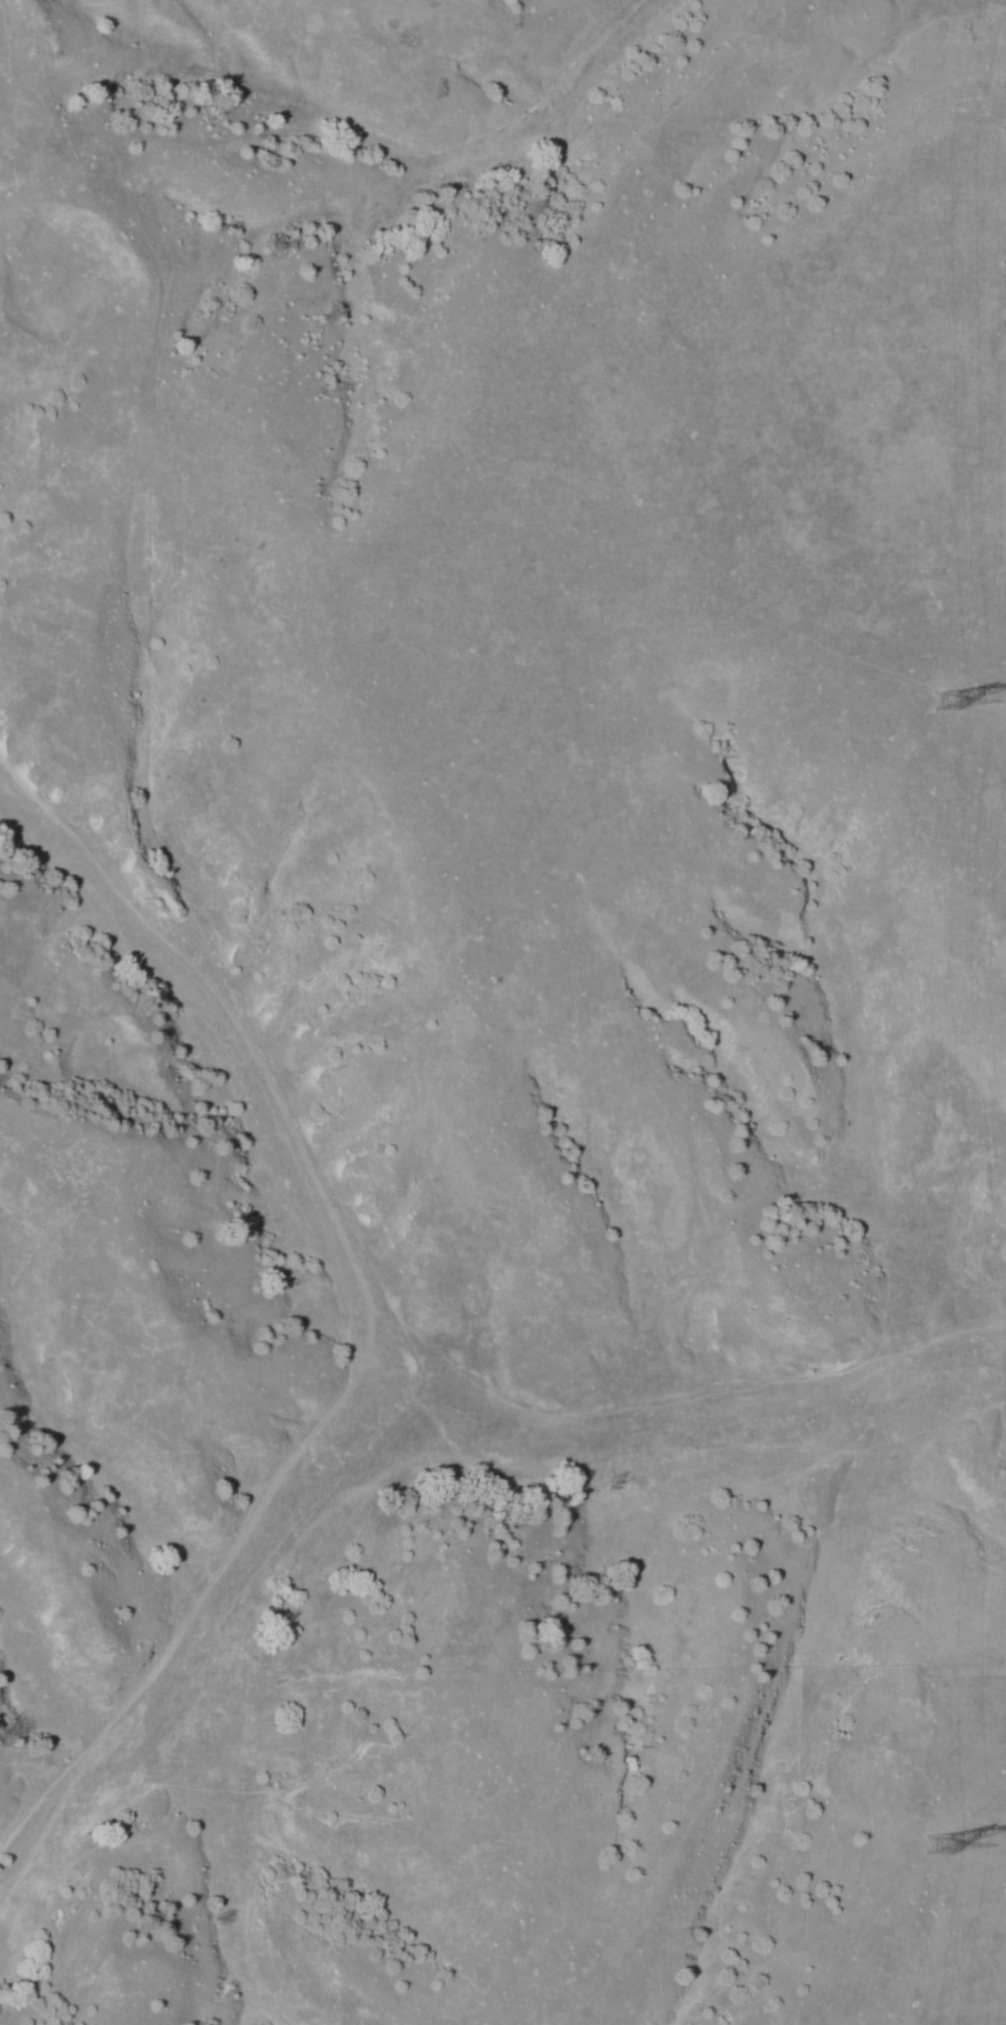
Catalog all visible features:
power tower: (945, 698)
power tower: (937, 1845)

